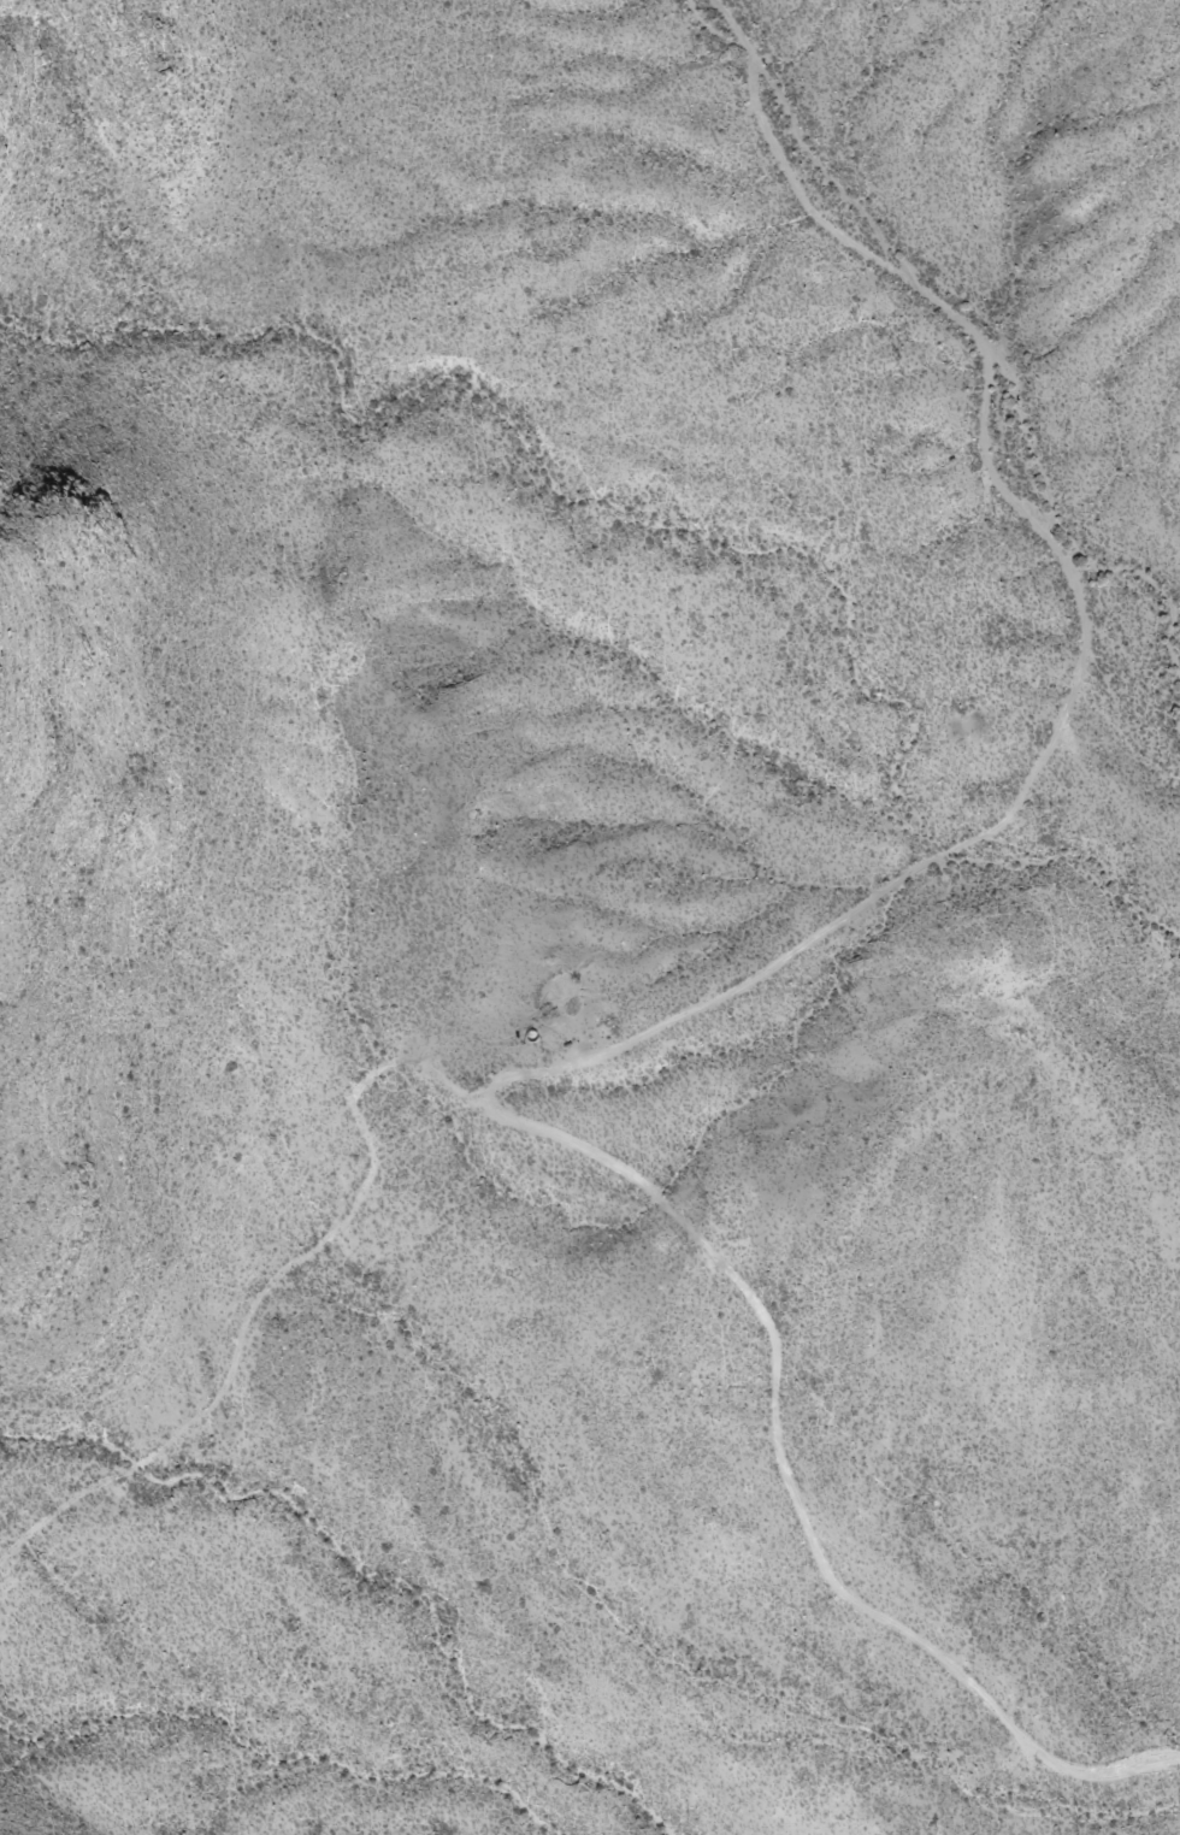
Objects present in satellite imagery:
road: (851, 1550)

